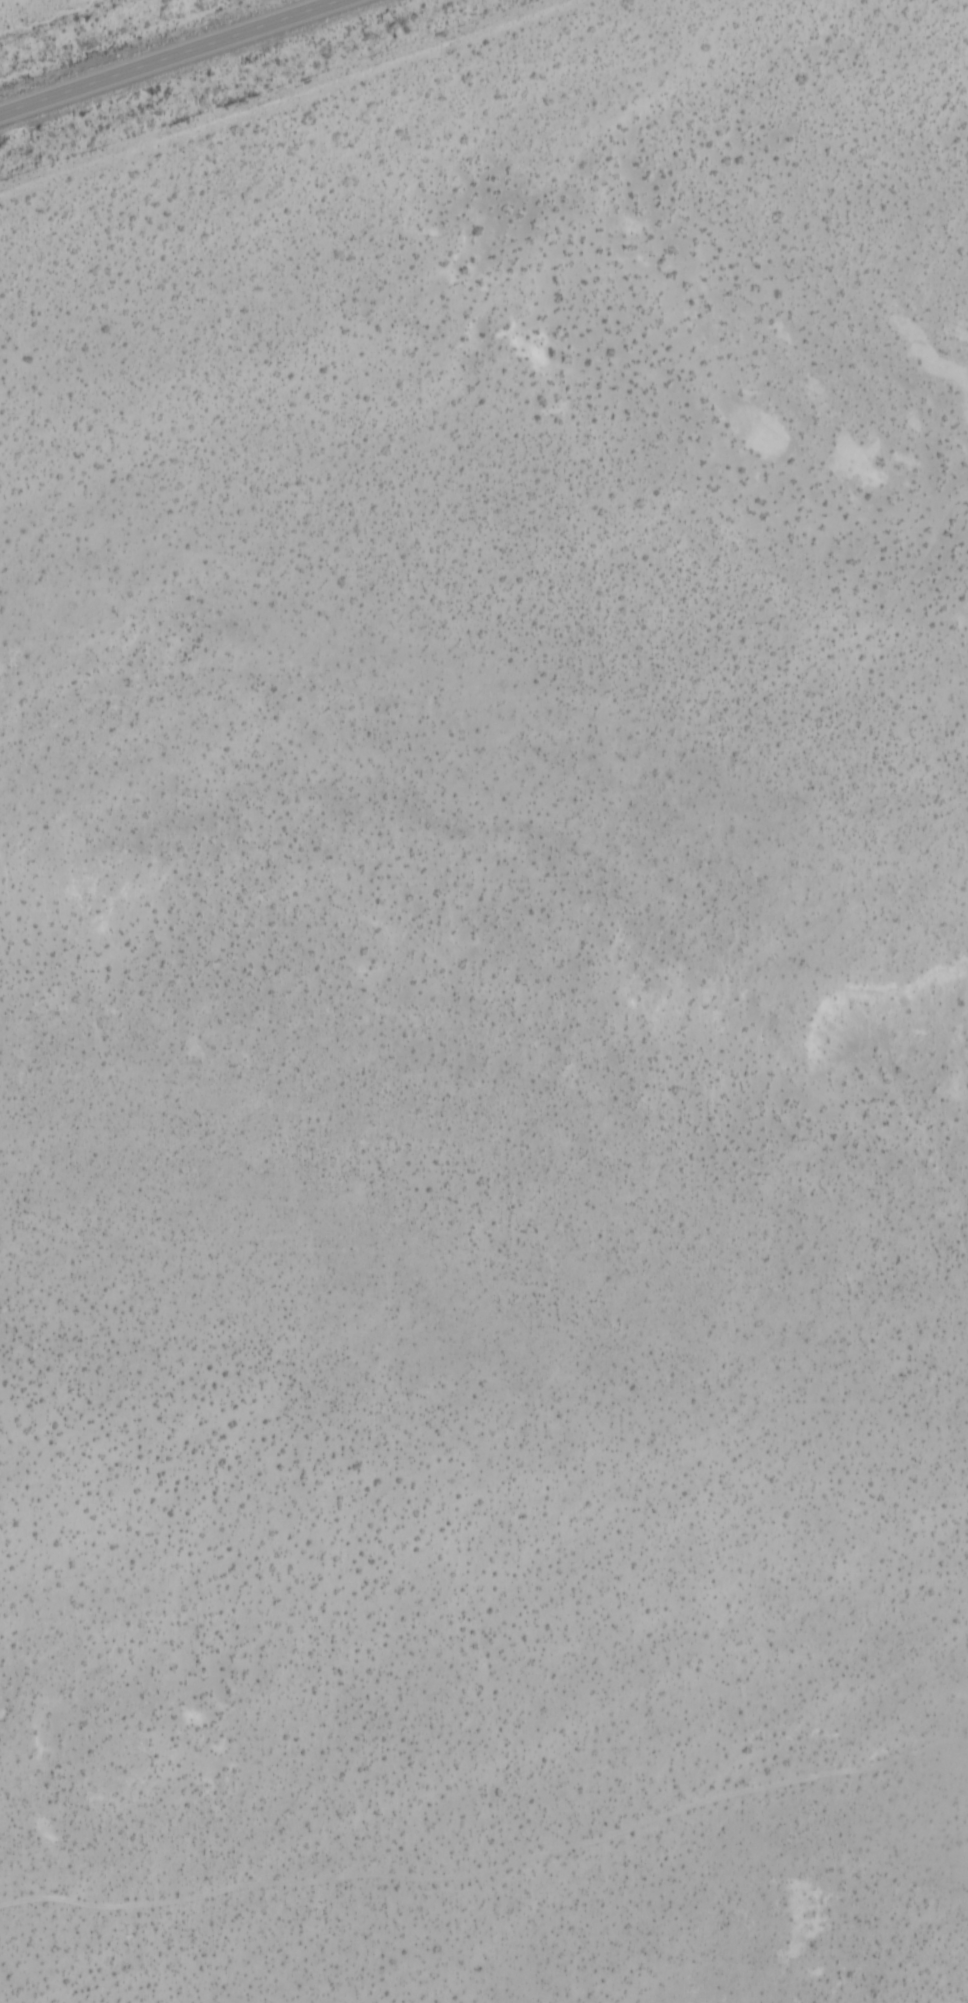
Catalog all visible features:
road: (165, 55)

